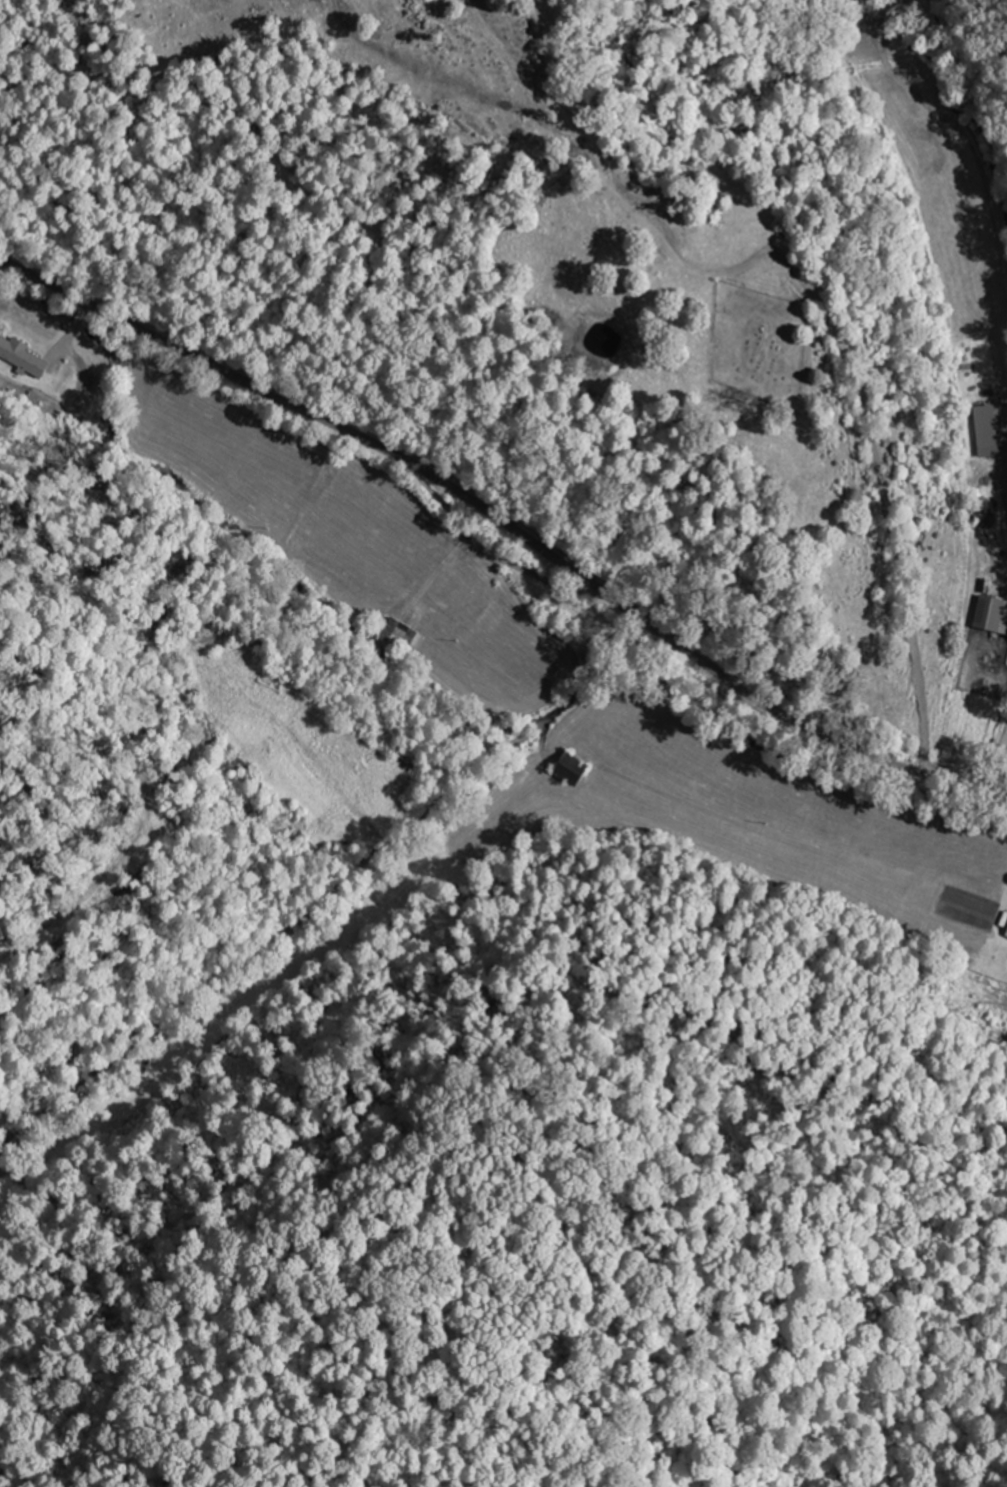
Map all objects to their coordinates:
building: (25, 357)
building: (82, 401)
road: (882, 483)
building: (988, 514)
road: (508, 525)
building: (993, 614)
building: (397, 630)
building: (578, 769)

